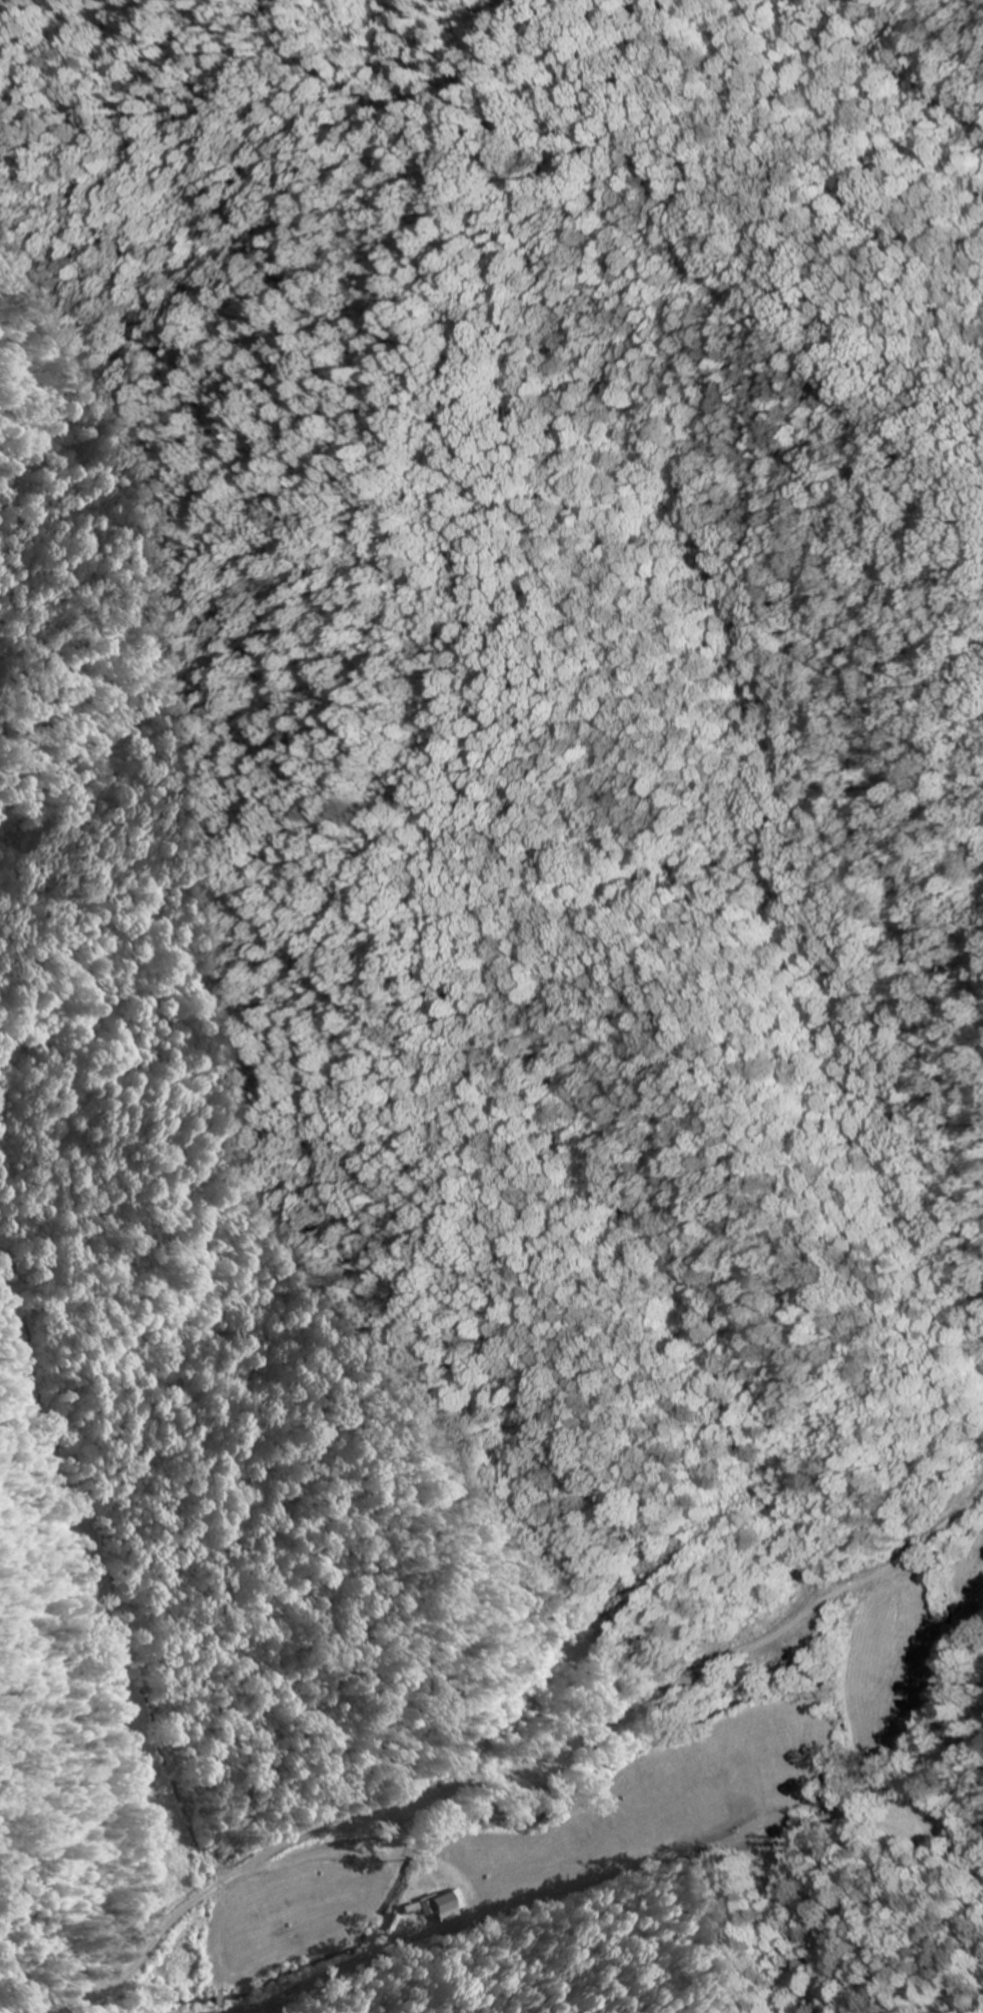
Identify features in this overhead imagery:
road: (532, 1775)
building: (448, 1905)

